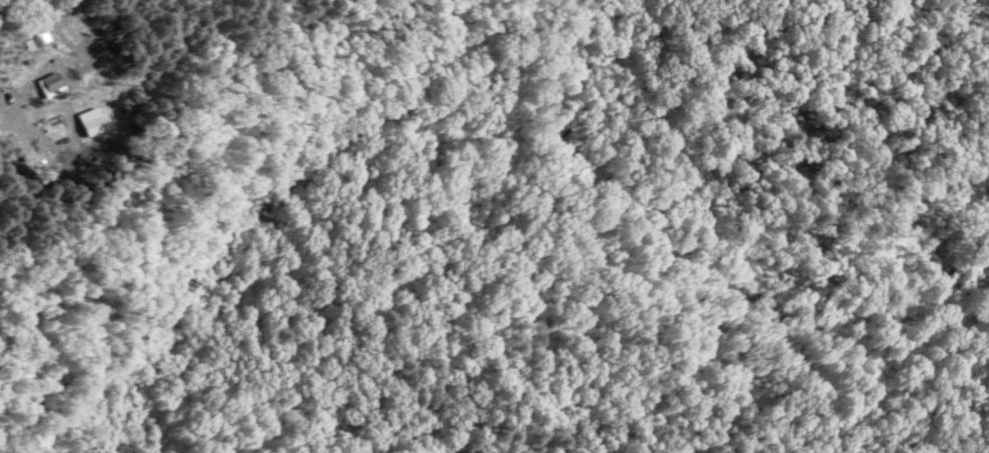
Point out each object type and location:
building: (40, 40)
building: (54, 84)

